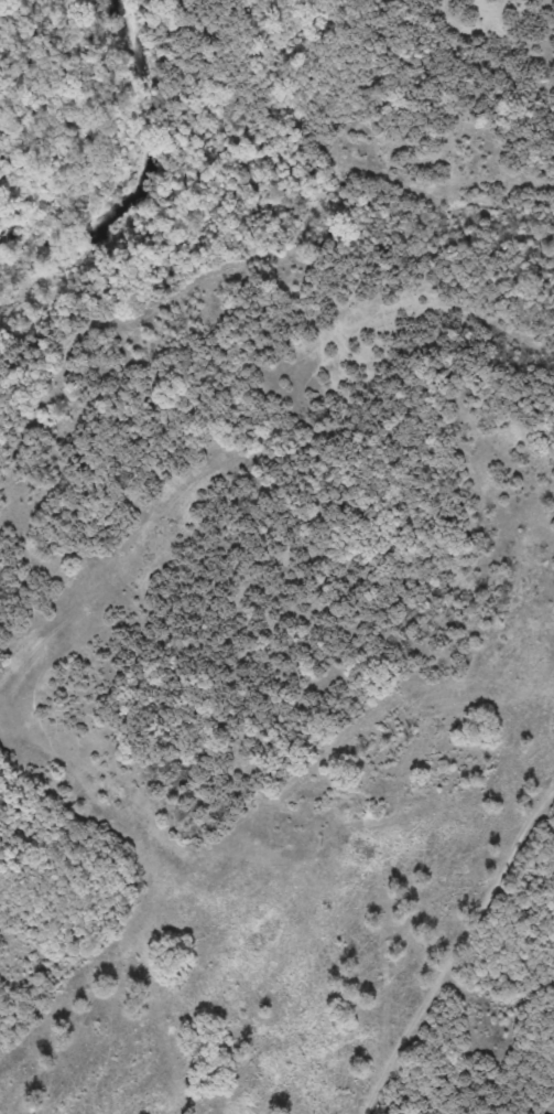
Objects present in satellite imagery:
road: (456, 951)

